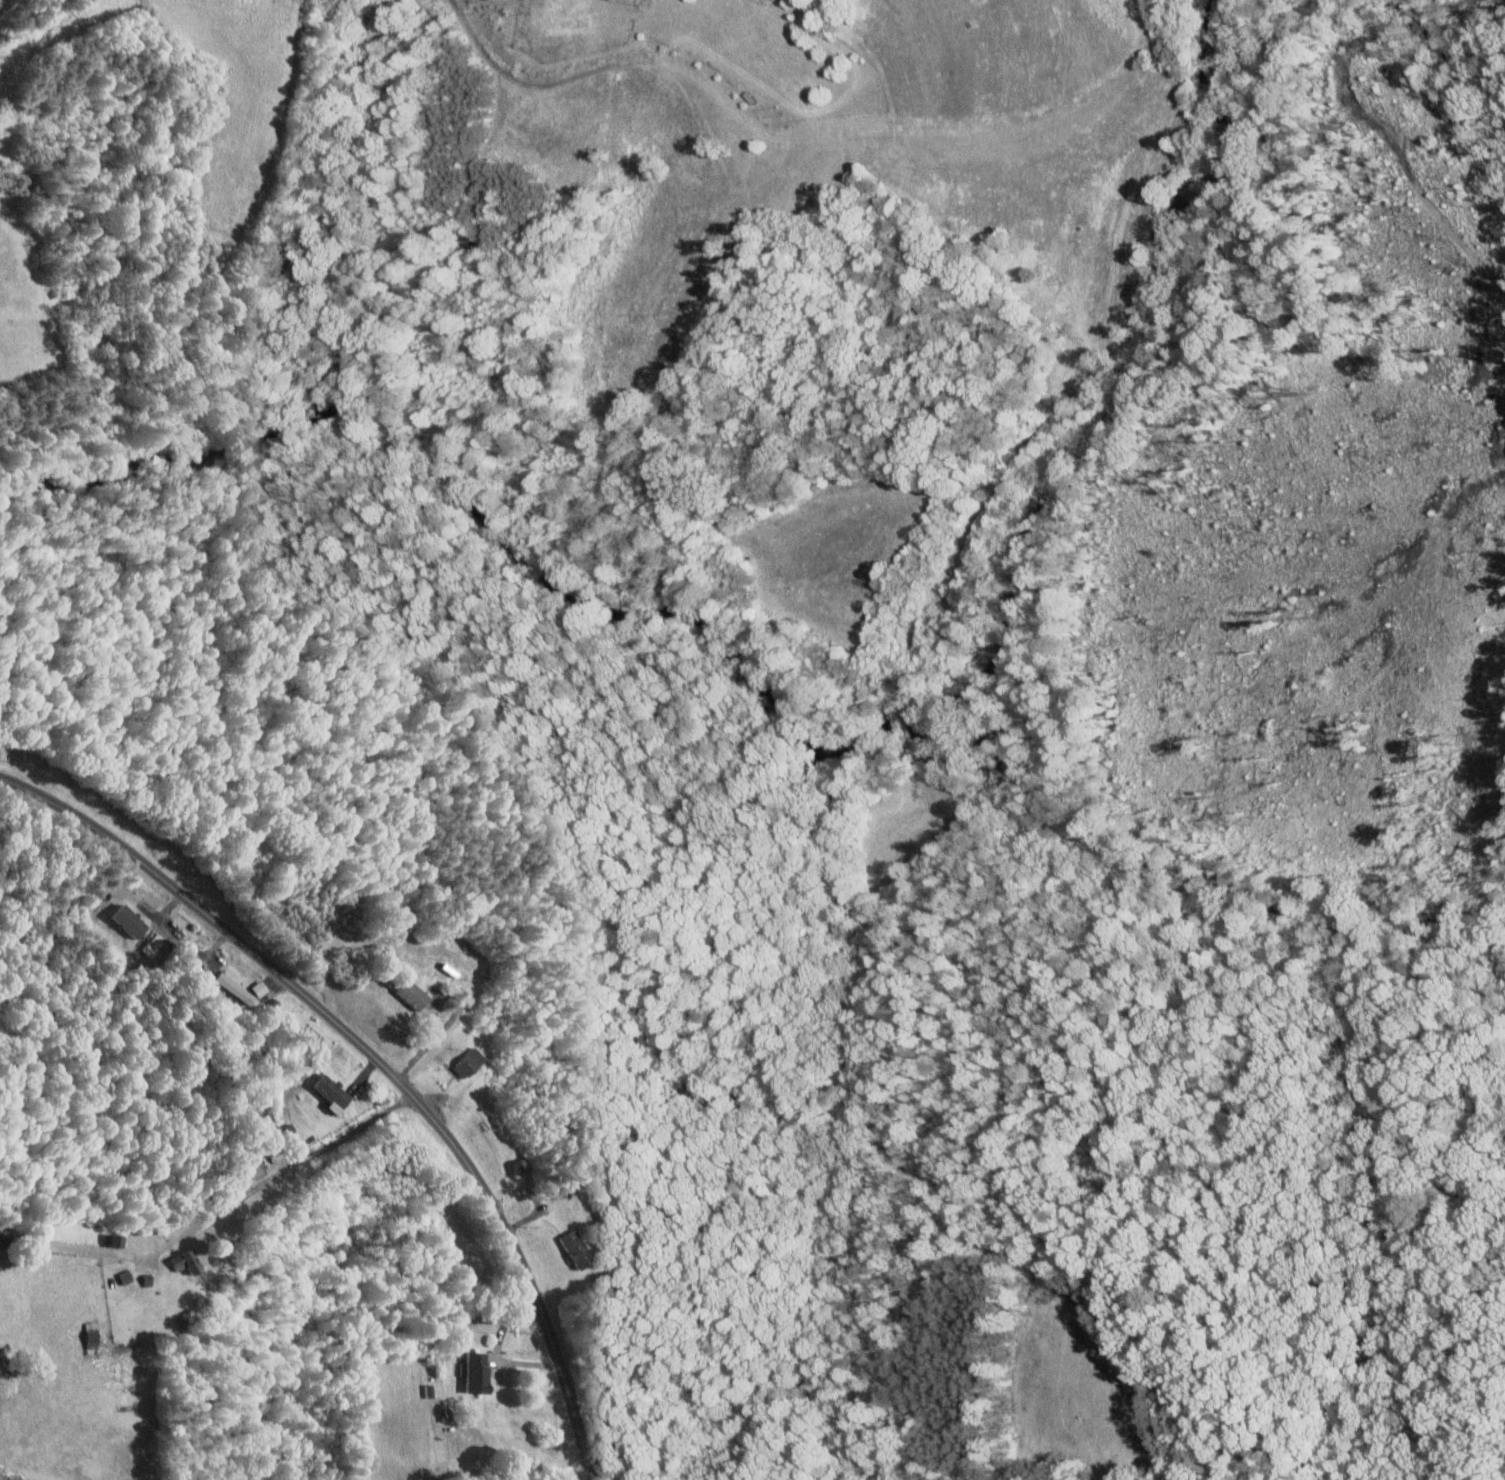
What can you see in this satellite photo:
building: (131, 922)
building: (240, 987)
building: (414, 995)
road: (380, 1061)
building: (470, 1063)
building: (333, 1092)
road: (216, 1216)
building: (118, 1240)
building: (578, 1250)
building: (187, 1262)
building: (127, 1277)
building: (479, 1372)

